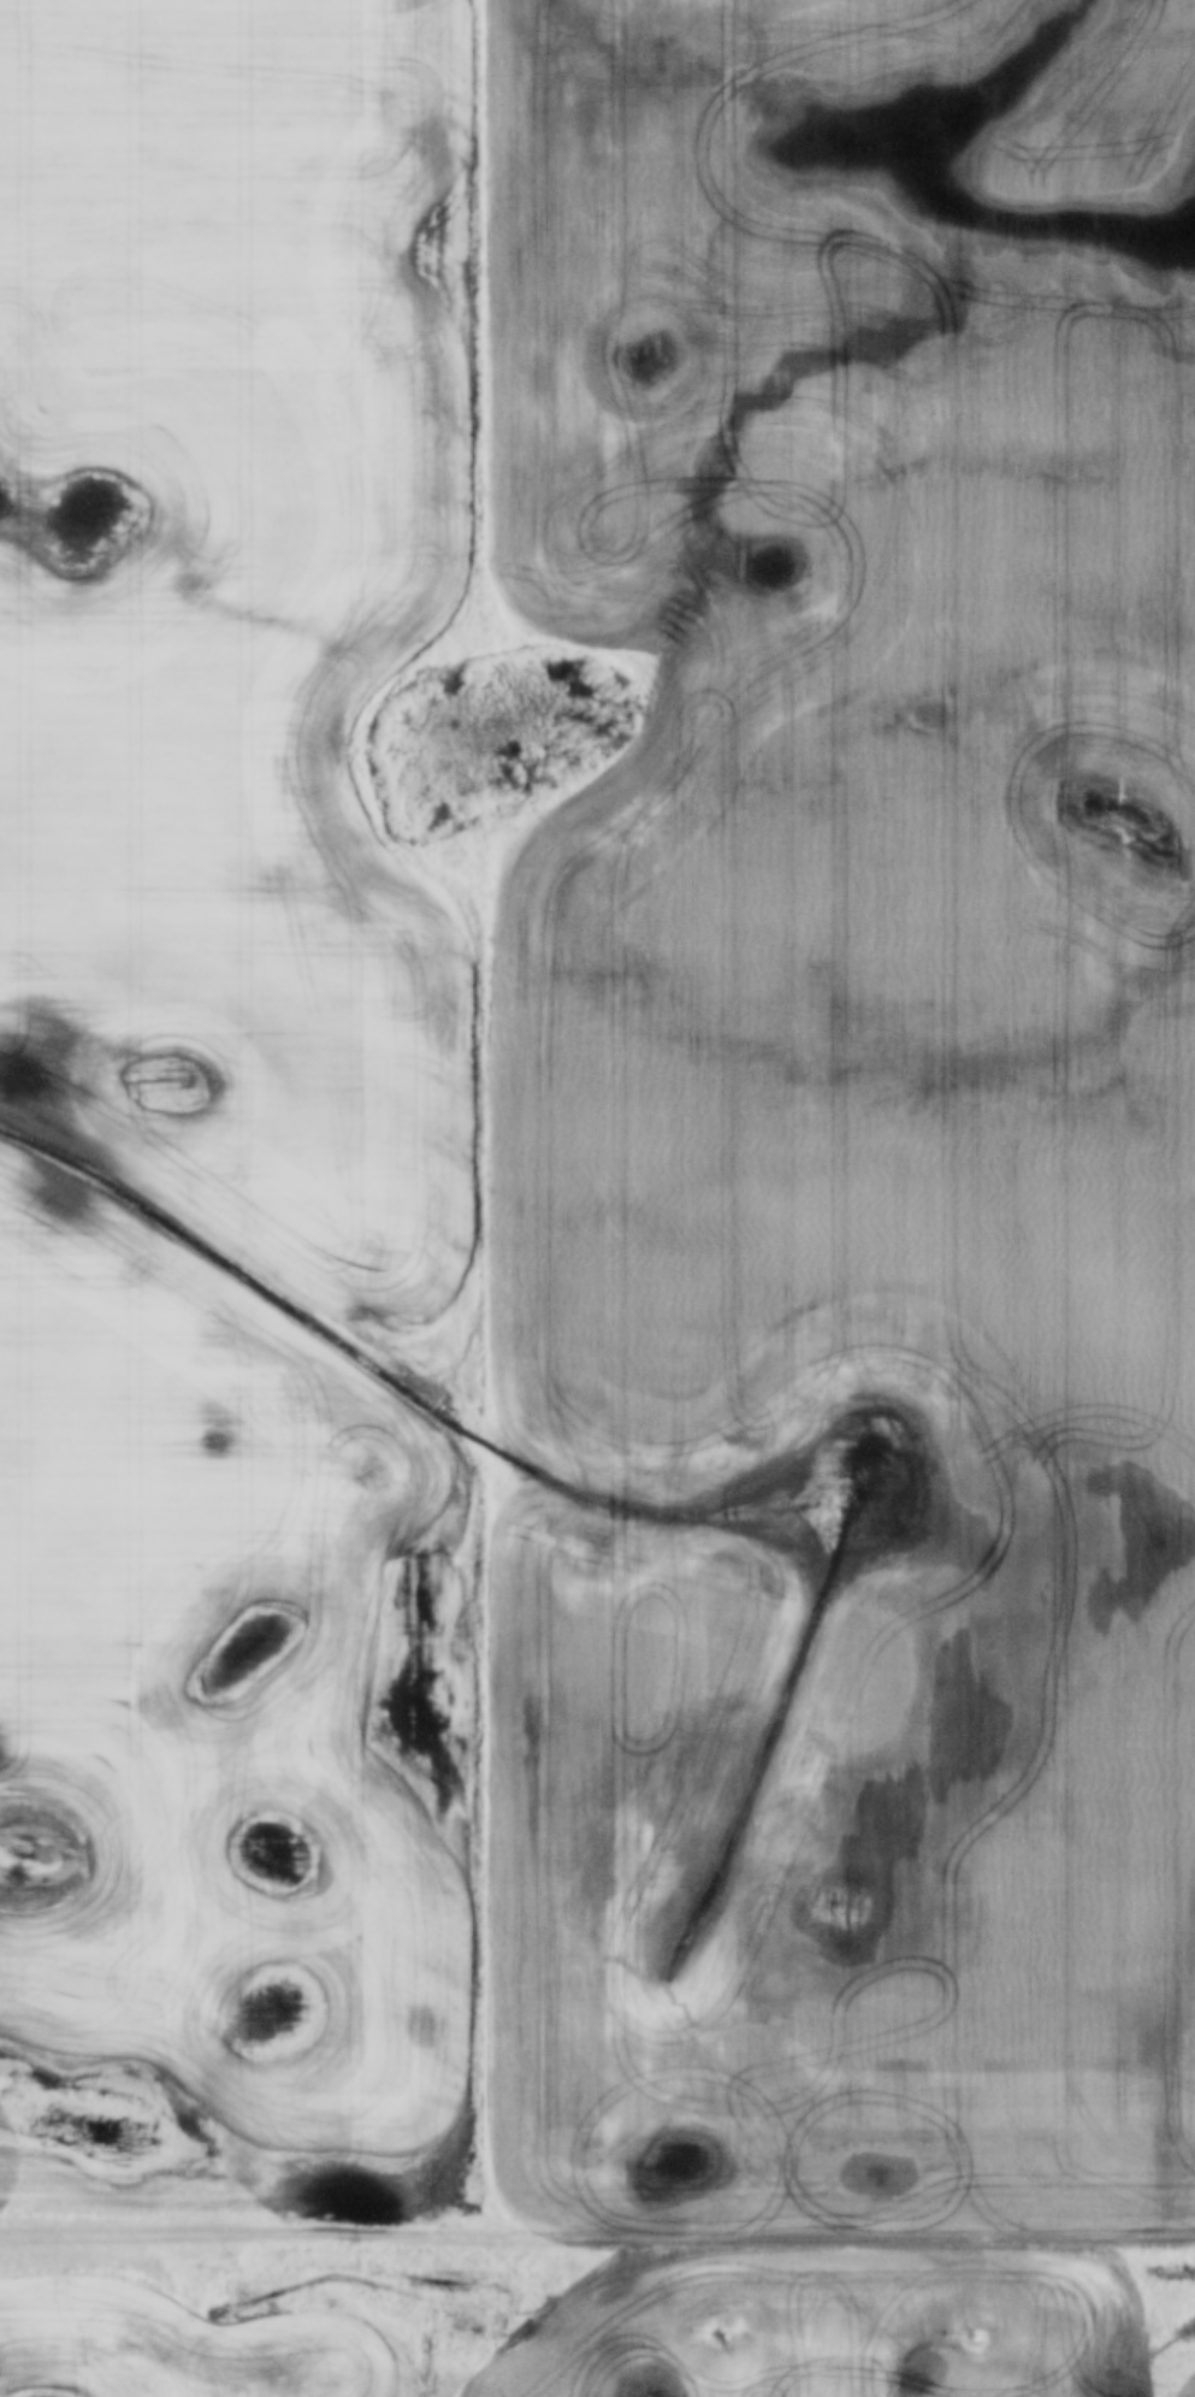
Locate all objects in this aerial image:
road: (597, 2234)

